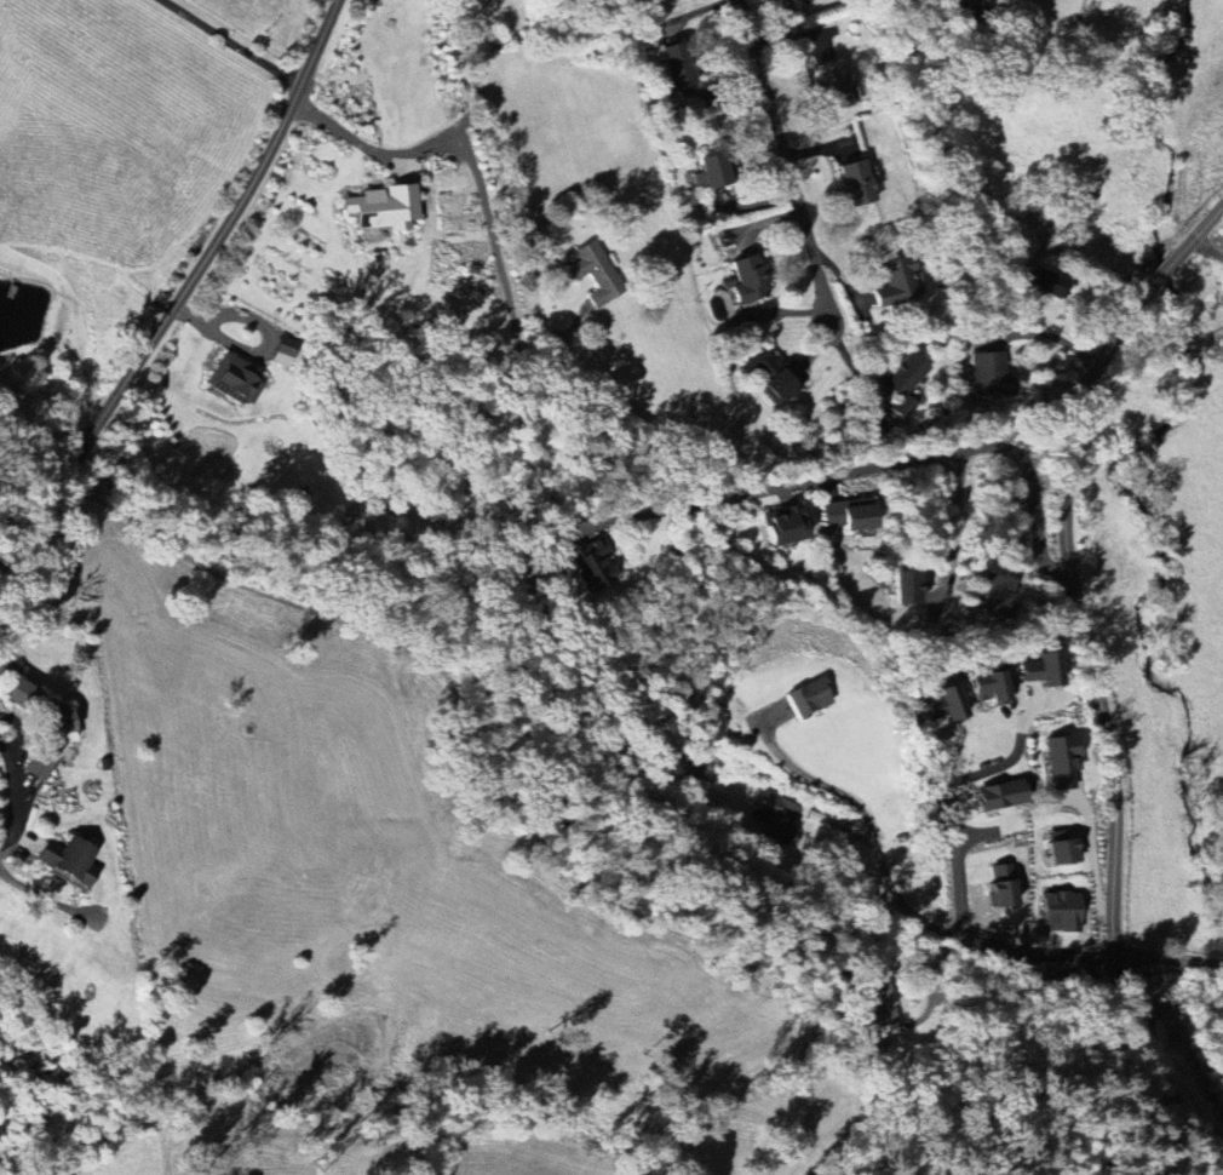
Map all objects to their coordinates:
building: (982, 1)
building: (788, 5)
road: (460, 7)
road: (230, 45)
building: (677, 67)
building: (836, 85)
road: (344, 133)
road: (788, 160)
building: (716, 170)
building: (857, 182)
building: (383, 207)
road: (1211, 246)
building: (596, 273)
building: (748, 280)
building: (898, 281)
building: (1055, 285)
road: (184, 290)
road: (1052, 333)
building: (905, 374)
building: (992, 374)
building: (771, 376)
building: (24, 378)
building: (234, 379)
building: (903, 407)
road: (883, 464)
road: (955, 523)
building: (785, 525)
building: (591, 564)
building: (907, 587)
building: (998, 594)
building: (1043, 670)
road: (1096, 681)
building: (989, 682)
building: (808, 698)
building: (947, 704)
road: (19, 729)
building: (1063, 761)
road: (997, 764)
building: (1000, 795)
building: (776, 815)
road: (954, 843)
building: (1061, 849)
building: (69, 860)
building: (1003, 885)
road: (895, 893)
building: (1061, 911)
road: (1170, 961)
building: (884, 1010)

